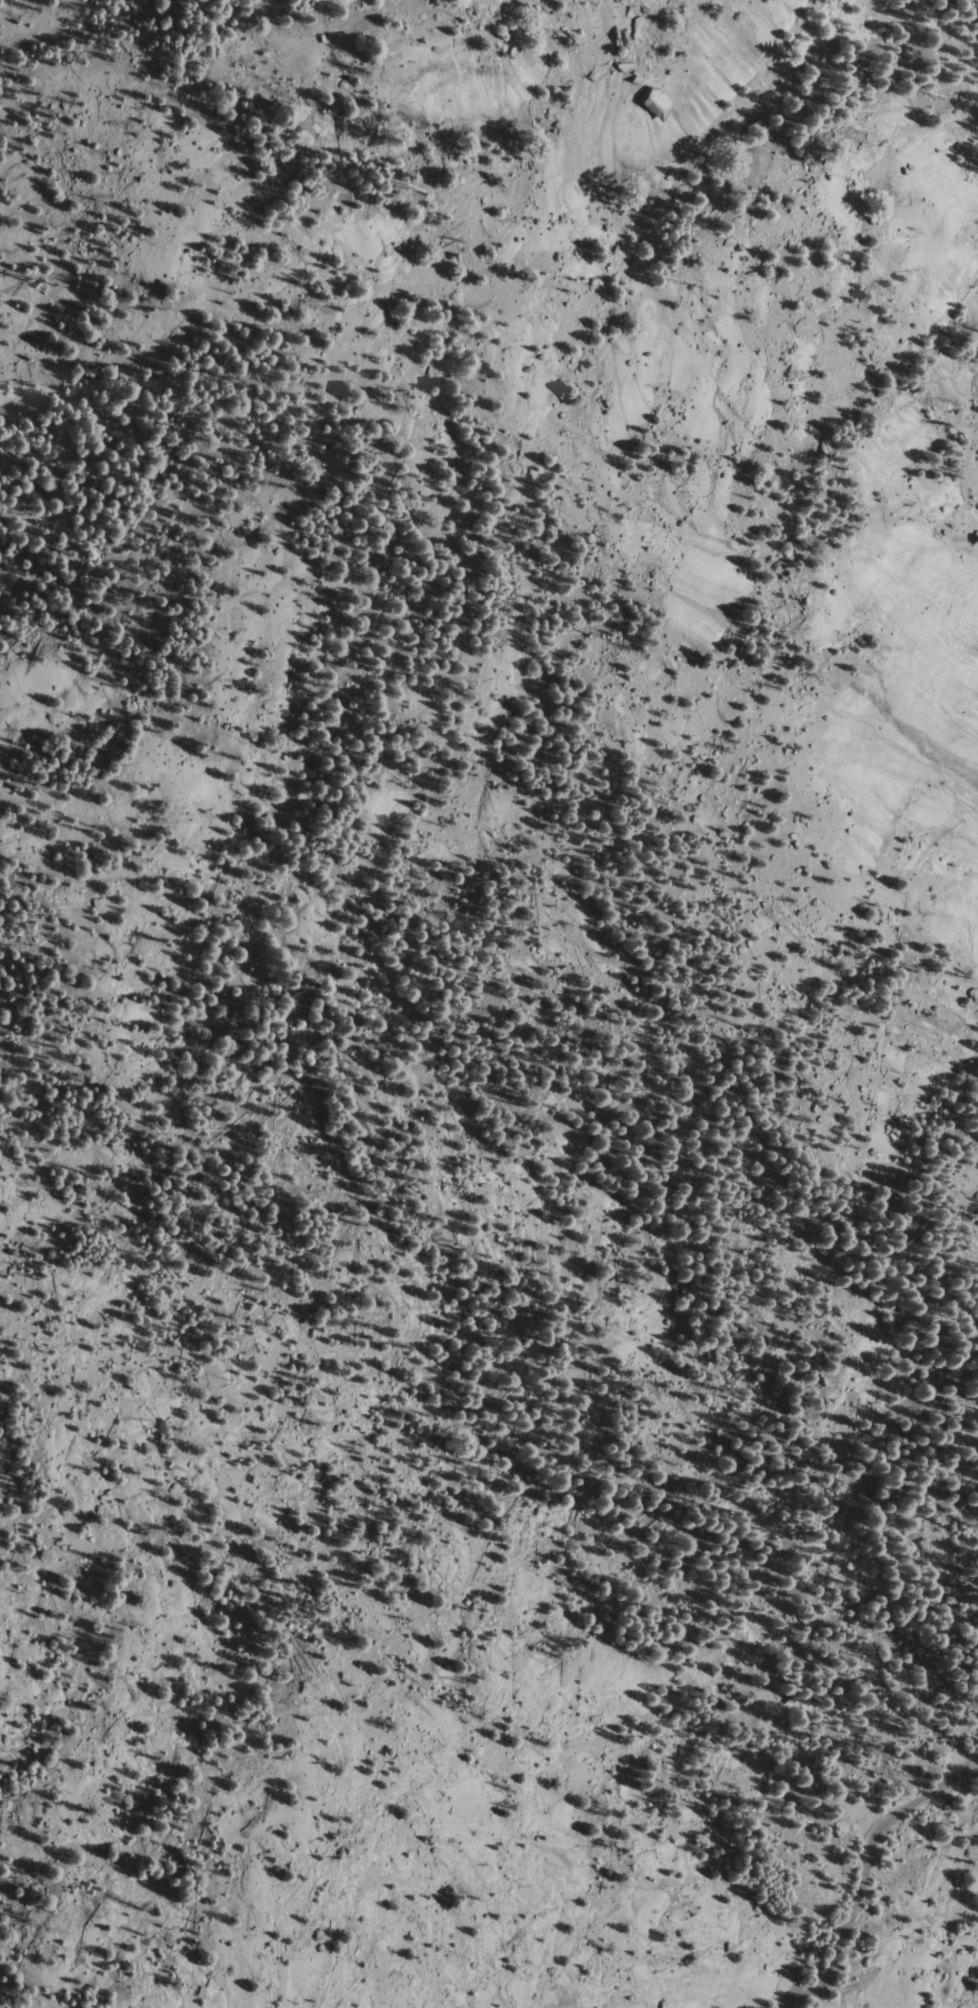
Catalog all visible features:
road: (972, 1588)
road: (959, 1722)
road: (862, 1858)

